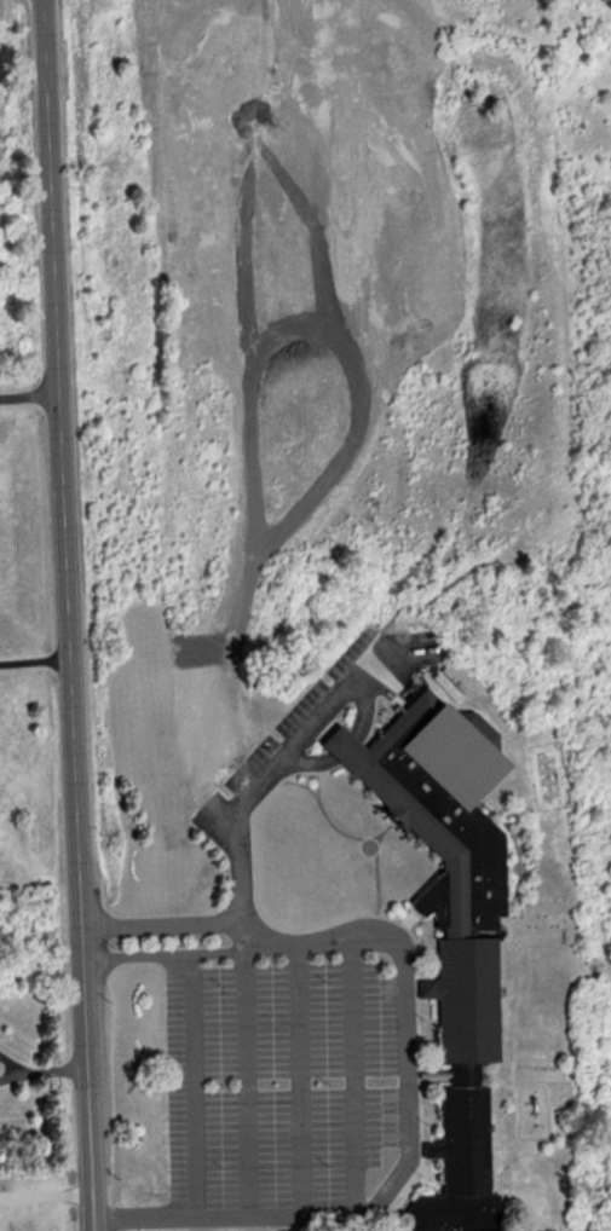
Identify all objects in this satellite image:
road: (54, 109)
road: (33, 393)
road: (39, 658)
road: (373, 713)
road: (81, 723)
building: (348, 744)
road: (351, 747)
road: (321, 761)
road: (273, 779)
road: (177, 926)
building: (459, 926)
road: (98, 942)
road: (113, 950)
road: (186, 954)
road: (11, 1064)
road: (47, 1069)
road: (352, 1080)
road: (301, 1082)
road: (246, 1088)
road: (200, 1091)
parking lot: (293, 1094)
road: (416, 1142)
road: (51, 1202)
road: (103, 1230)

